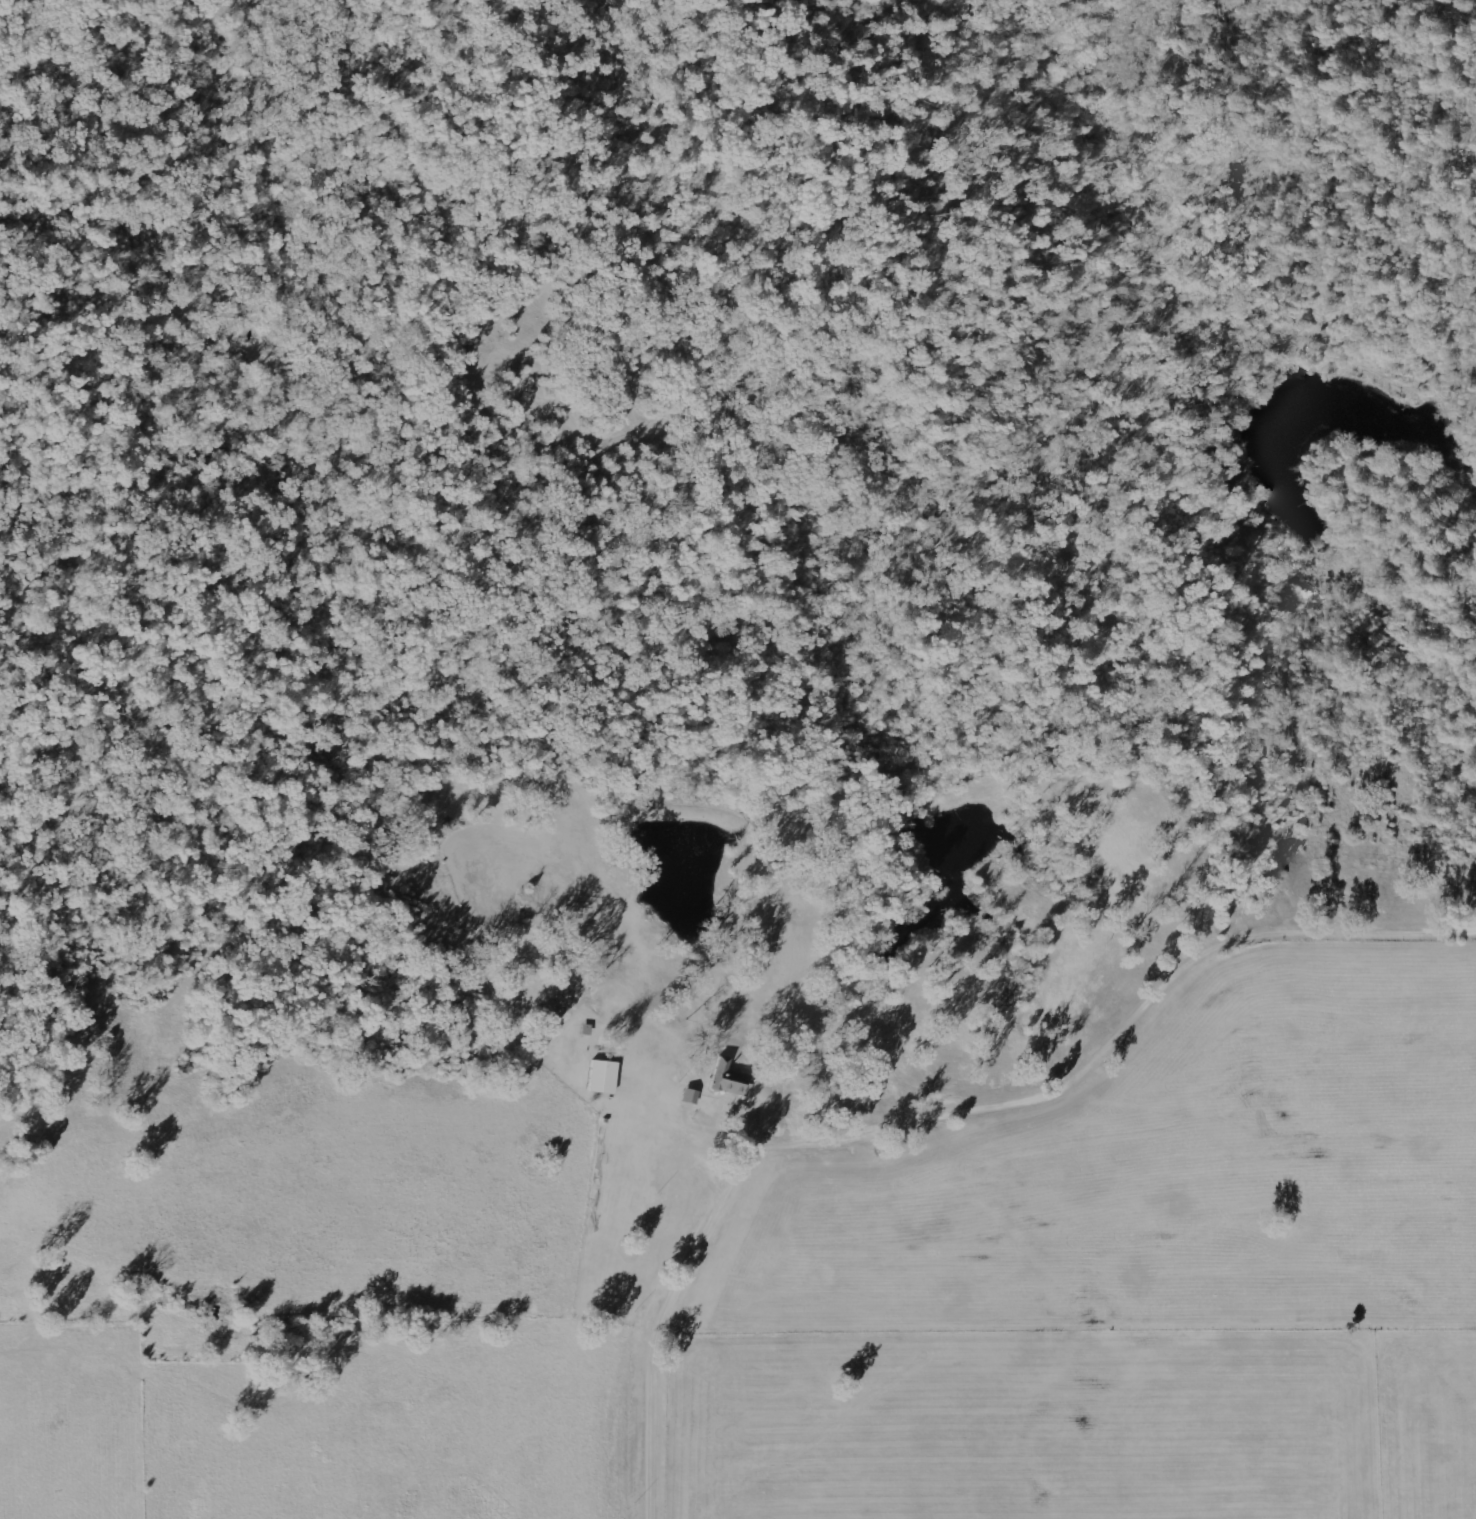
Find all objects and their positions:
building: (602, 1076)
road: (625, 1437)

